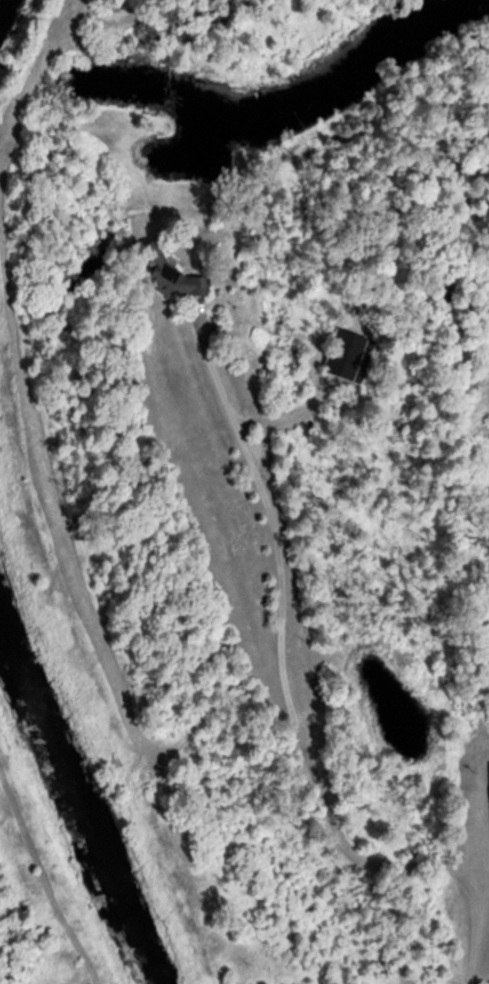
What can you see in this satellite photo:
building: (173, 277)
building: (351, 357)
road: (264, 564)
river: (79, 806)

